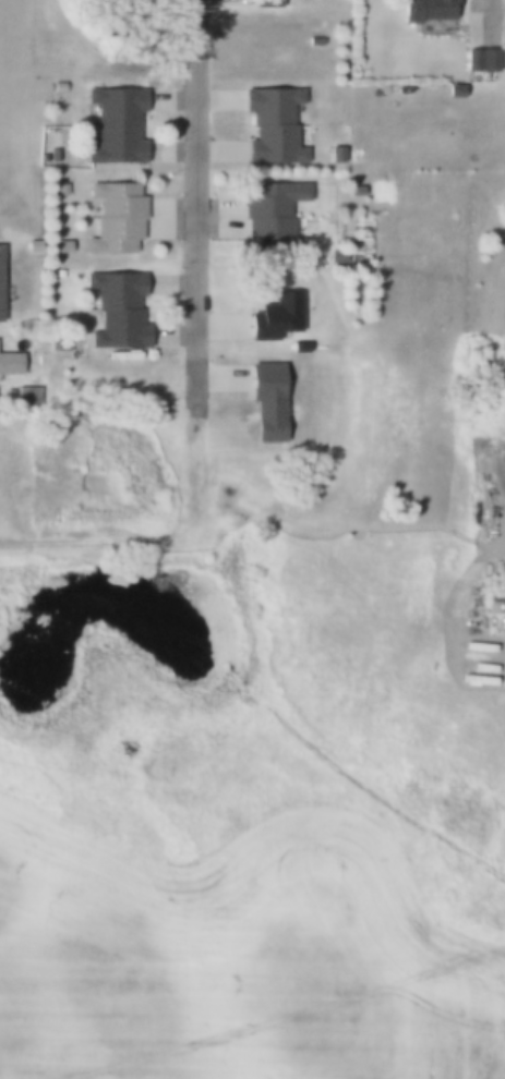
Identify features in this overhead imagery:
road: (492, 9)
building: (425, 10)
storage tank: (346, 32)
building: (314, 40)
building: (480, 60)
building: (57, 87)
building: (453, 89)
building: (115, 124)
building: (272, 125)
building: (336, 154)
building: (52, 155)
road: (200, 178)
building: (60, 189)
building: (356, 192)
building: (272, 213)
building: (116, 217)
building: (31, 246)
building: (61, 246)
building: (57, 274)
building: (117, 311)
building: (274, 316)
building: (298, 345)
building: (10, 363)
building: (26, 397)
building: (265, 400)

